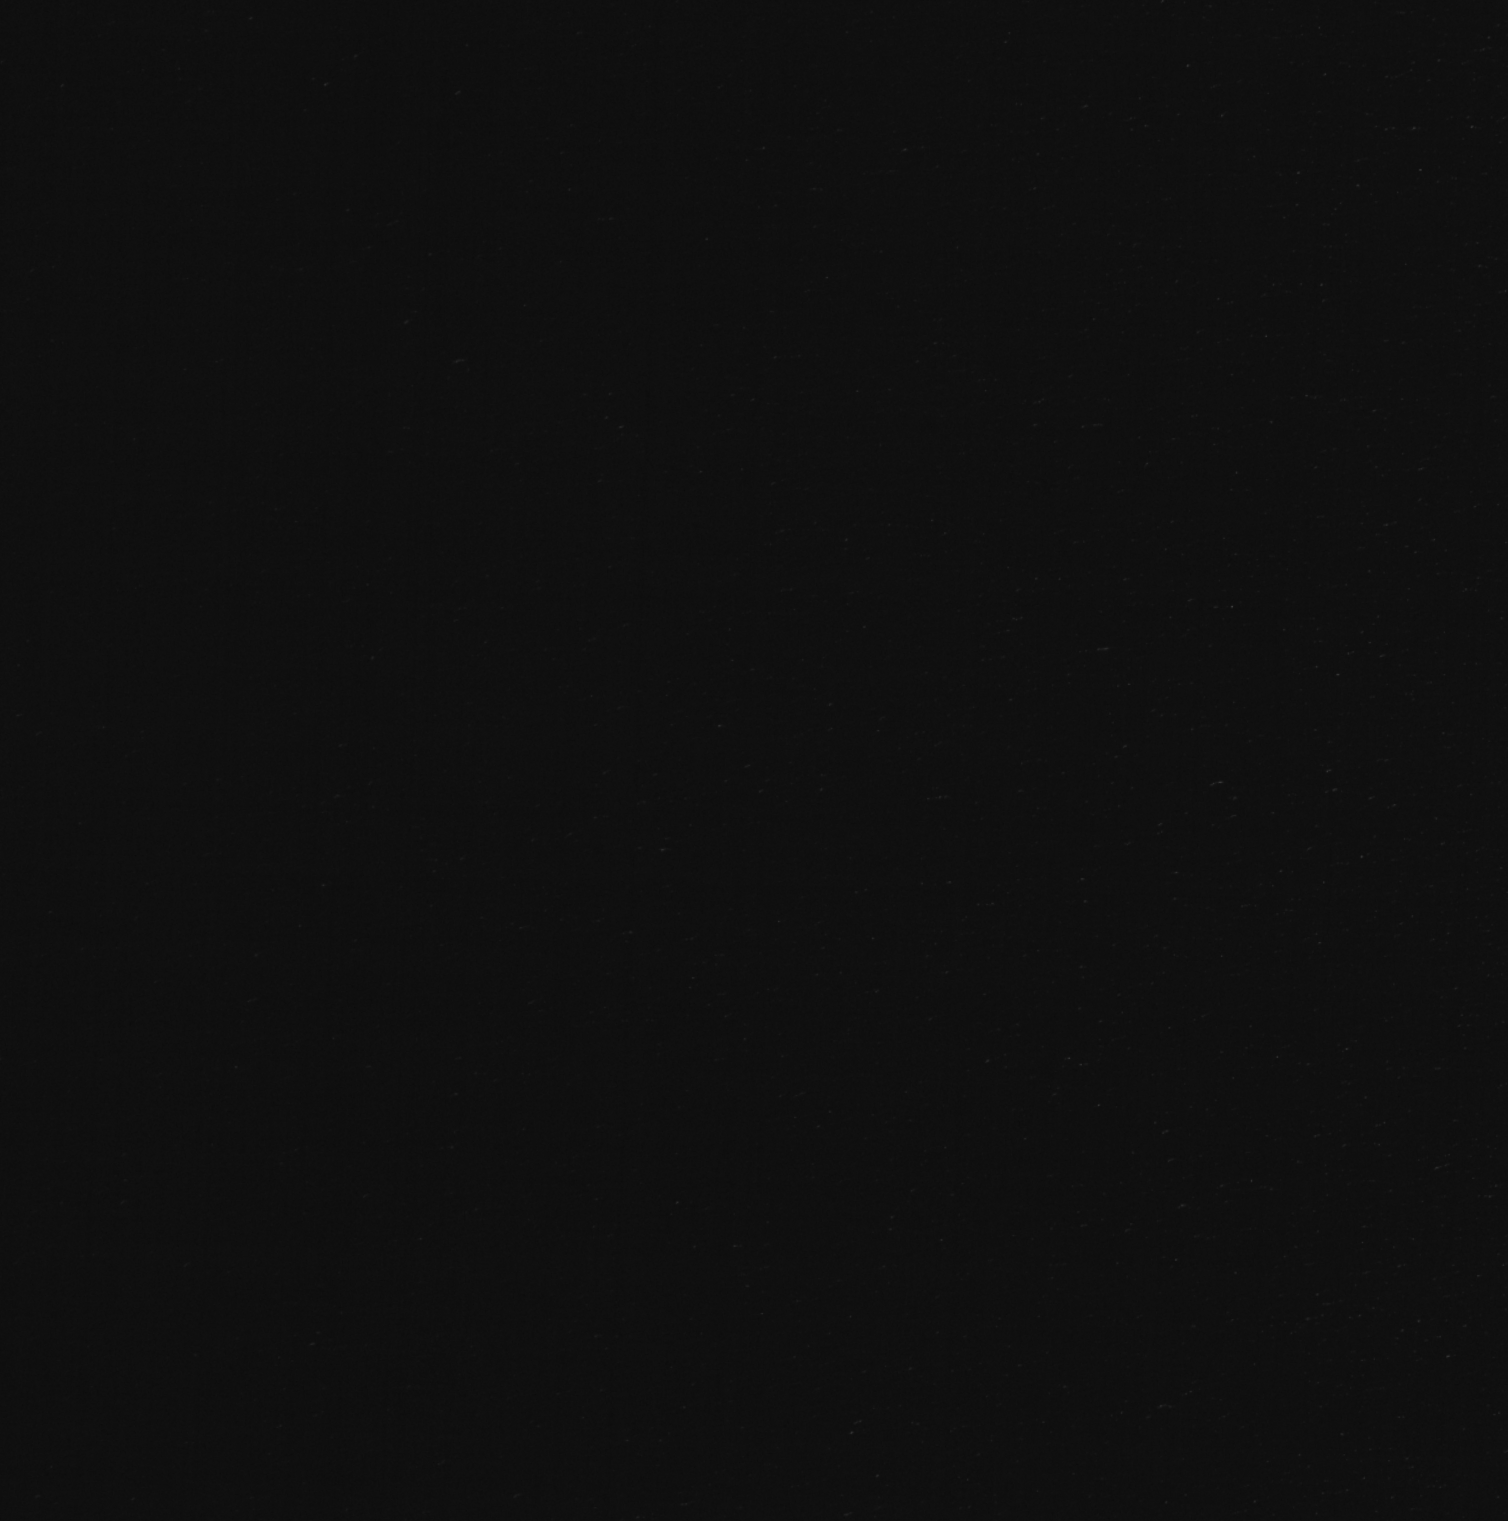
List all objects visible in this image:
river: (753, 1148)

